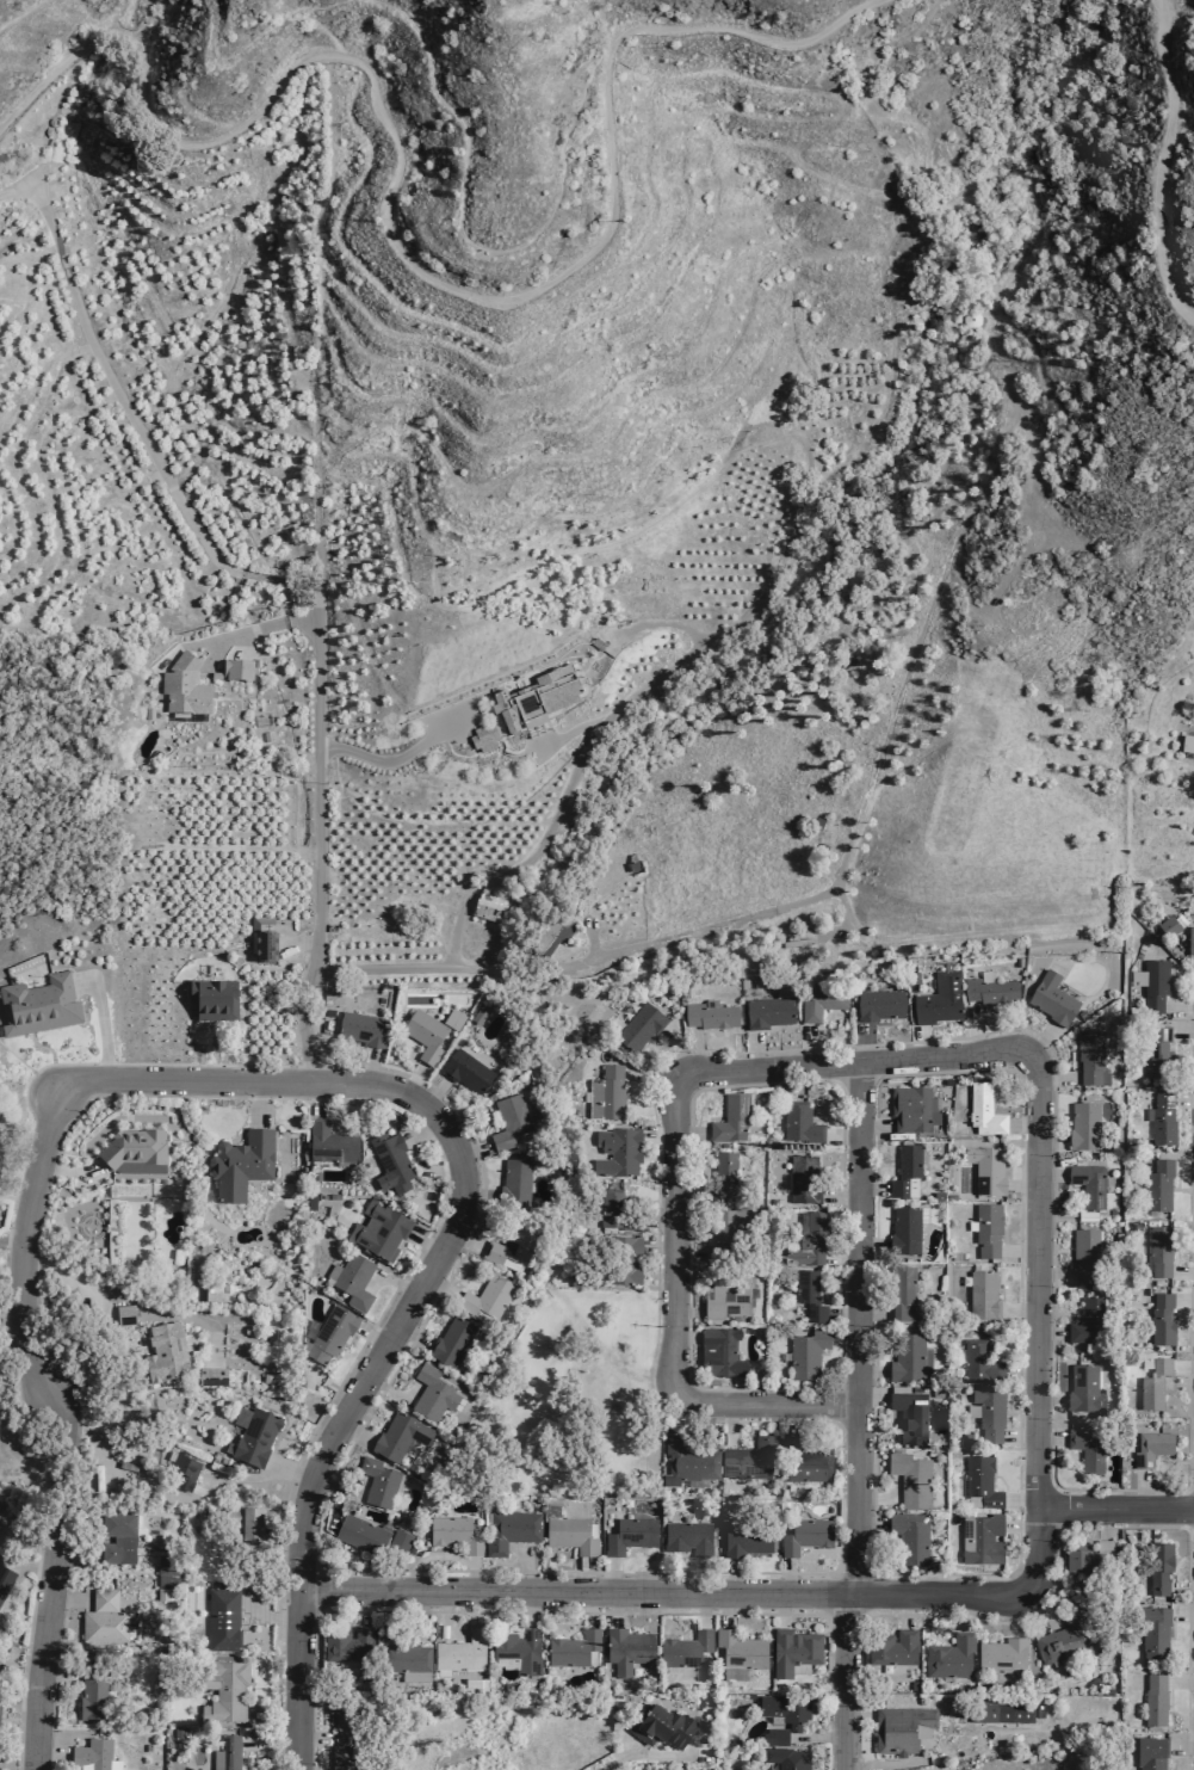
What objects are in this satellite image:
road: (20, 11)
road: (143, 21)
road: (335, 29)
road: (245, 44)
building: (50, 121)
storage tank: (50, 121)
building: (47, 130)
storage tank: (47, 130)
road: (1163, 165)
road: (972, 185)
road: (471, 241)
road: (397, 259)
building: (969, 319)
storage tank: (969, 319)
crop: (163, 380)
road: (136, 418)
building: (1033, 440)
road: (986, 605)
road: (264, 625)
building: (233, 671)
building: (182, 684)
building: (537, 701)
building: (147, 713)
road: (568, 730)
building: (483, 738)
building: (1186, 744)
road: (580, 756)
road: (395, 760)
road: (323, 847)
road: (822, 893)
building: (487, 907)
building: (1167, 926)
road: (835, 929)
building: (550, 935)
road: (590, 935)
building: (260, 936)
building: (1189, 940)
road: (301, 942)
building: (796, 943)
building: (271, 946)
road: (1189, 962)
building: (742, 983)
building: (1153, 985)
building: (988, 988)
building: (211, 997)
building: (938, 999)
building: (1051, 999)
building: (37, 1005)
building: (878, 1005)
building: (817, 1006)
road: (1178, 1006)
building: (767, 1010)
road: (239, 1012)
building: (477, 1014)
building: (707, 1016)
building: (451, 1018)
road: (99, 1022)
road: (972, 1025)
building: (638, 1026)
building: (360, 1028)
road: (1182, 1035)
building: (423, 1036)
road: (918, 1040)
road: (866, 1041)
road: (1038, 1041)
road: (205, 1042)
road: (808, 1044)
road: (42, 1048)
road: (675, 1048)
road: (694, 1048)
road: (754, 1048)
building: (1157, 1053)
building: (1089, 1059)
road: (855, 1060)
road: (369, 1068)
building: (463, 1069)
road: (647, 1077)
road: (1053, 1079)
road: (412, 1080)
road: (874, 1086)
building: (605, 1094)
road: (1184, 1098)
road: (253, 1104)
road: (336, 1108)
building: (911, 1108)
building: (983, 1110)
building: (729, 1118)
building: (1162, 1121)
building: (799, 1122)
building: (512, 1123)
road: (873, 1123)
building: (1083, 1128)
road: (686, 1131)
road: (841, 1134)
road: (654, 1137)
road: (17, 1143)
building: (329, 1143)
road: (1047, 1145)
building: (132, 1146)
building: (615, 1151)
road: (414, 1161)
building: (239, 1162)
building: (395, 1164)
road: (1183, 1165)
building: (723, 1166)
building: (985, 1168)
building: (904, 1171)
road: (72, 1172)
road: (1047, 1173)
building: (803, 1178)
building: (516, 1184)
building: (1087, 1184)
building: (1157, 1185)
road: (871, 1189)
road: (841, 1197)
building: (614, 1211)
road: (656, 1222)
building: (904, 1228)
building: (986, 1228)
building: (384, 1229)
building: (725, 1229)
building: (808, 1241)
road: (13, 1245)
building: (514, 1247)
building: (1158, 1250)
road: (687, 1254)
building: (1083, 1254)
building: (624, 1259)
road: (842, 1259)
road: (437, 1263)
road: (404, 1271)
road: (1181, 1271)
road: (1052, 1277)
building: (575, 1278)
building: (359, 1282)
road: (1033, 1284)
road: (630, 1285)
building: (223, 1291)
building: (901, 1291)
building: (806, 1294)
building: (980, 1294)
building: (725, 1295)
road: (122, 1299)
building: (488, 1301)
road: (1183, 1301)
road: (685, 1310)
building: (123, 1314)
road: (843, 1314)
building: (1161, 1319)
building: (1085, 1320)
road: (673, 1325)
road: (858, 1327)
road: (1048, 1333)
building: (335, 1334)
road: (685, 1337)
road: (843, 1338)
building: (453, 1344)
road: (14, 1349)
building: (718, 1351)
building: (166, 1352)
building: (805, 1352)
building: (907, 1357)
building: (978, 1361)
road: (1183, 1367)
building: (210, 1375)
building: (1152, 1384)
building: (1082, 1388)
building: (432, 1395)
park: (569, 1405)
road: (655, 1405)
road: (1050, 1406)
road: (25, 1410)
building: (988, 1413)
building: (908, 1414)
road: (791, 1419)
road: (56, 1425)
road: (729, 1425)
road: (1048, 1437)
building: (261, 1438)
building: (964, 1439)
building: (398, 1441)
building: (1149, 1447)
building: (1085, 1448)
building: (748, 1457)
building: (803, 1460)
building: (686, 1462)
building: (191, 1468)
road: (265, 1475)
building: (909, 1478)
building: (979, 1480)
building: (378, 1485)
road: (1140, 1487)
road: (1114, 1505)
building: (565, 1506)
building: (253, 1521)
road: (1078, 1527)
building: (508, 1530)
building: (453, 1532)
building: (569, 1534)
building: (802, 1534)
building: (627, 1535)
building: (361, 1536)
building: (909, 1536)
building: (117, 1537)
building: (687, 1537)
building: (744, 1537)
building: (979, 1538)
building: (398, 1547)
road: (70, 1553)
building: (1088, 1558)
building: (1158, 1565)
building: (166, 1571)
road: (700, 1575)
road: (786, 1575)
road: (731, 1577)
building: (5, 1579)
road: (1181, 1589)
building: (161, 1593)
road: (705, 1595)
road: (779, 1609)
road: (701, 1610)
road: (723, 1610)
road: (1034, 1610)
road: (527, 1612)
road: (1182, 1612)
road: (1012, 1614)
building: (101, 1618)
building: (222, 1618)
building: (1153, 1630)
building: (1063, 1636)
building: (346, 1643)
building: (891, 1647)
building: (571, 1648)
building: (626, 1648)
building: (682, 1648)
building: (515, 1649)
building: (462, 1651)
building: (792, 1651)
building: (737, 1653)
building: (402, 1655)
building: (1001, 1655)
building: (948, 1657)
building: (471, 1680)
road: (846, 1682)
road: (1180, 1682)
building: (1137, 1683)
building: (221, 1691)
building: (89, 1694)
building: (748, 1695)
building: (1153, 1700)
building: (785, 1709)
building: (1000, 1710)
building: (660, 1725)
building: (901, 1728)
building: (775, 1735)
road: (817, 1738)
road: (1180, 1745)
building: (227, 1753)
building: (1150, 1753)
building: (94, 1754)
road: (661, 1754)
building: (342, 1757)
building: (785, 1757)
building: (211, 1769)
building: (655, 1769)

